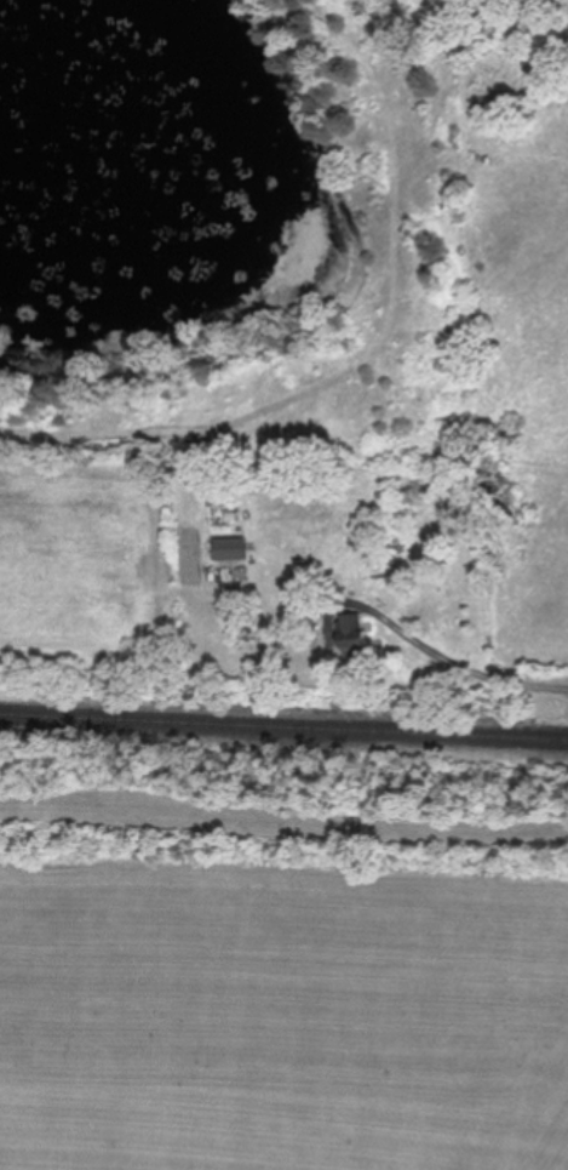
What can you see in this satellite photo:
building: (233, 547)
building: (357, 634)
road: (436, 657)
railway: (283, 729)

